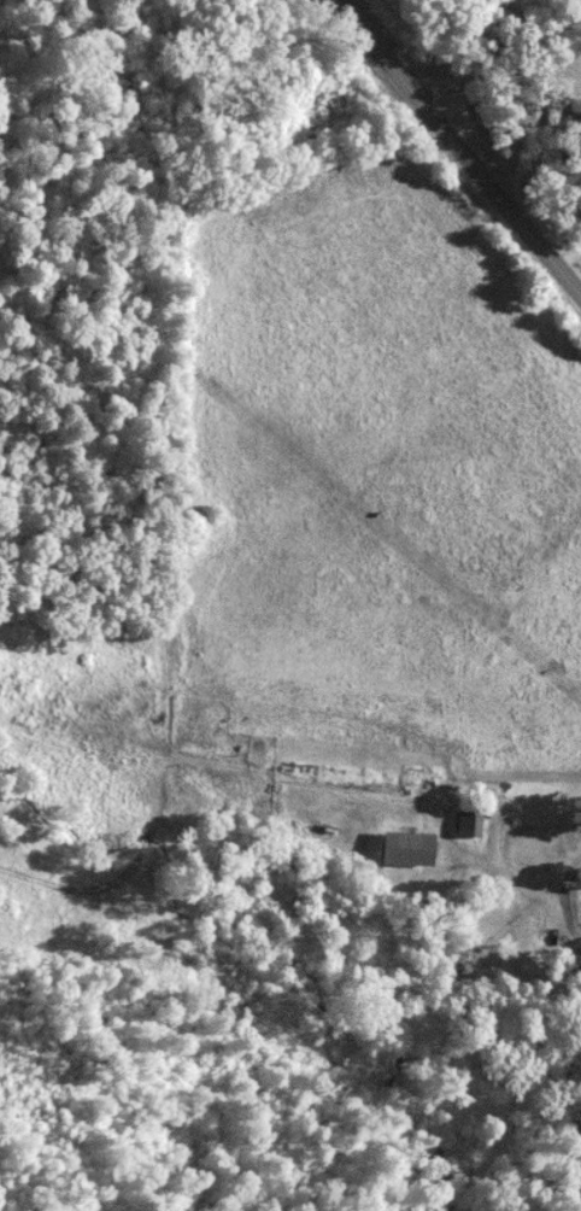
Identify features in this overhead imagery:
road: (457, 147)
building: (470, 819)
building: (404, 847)
road: (564, 878)

